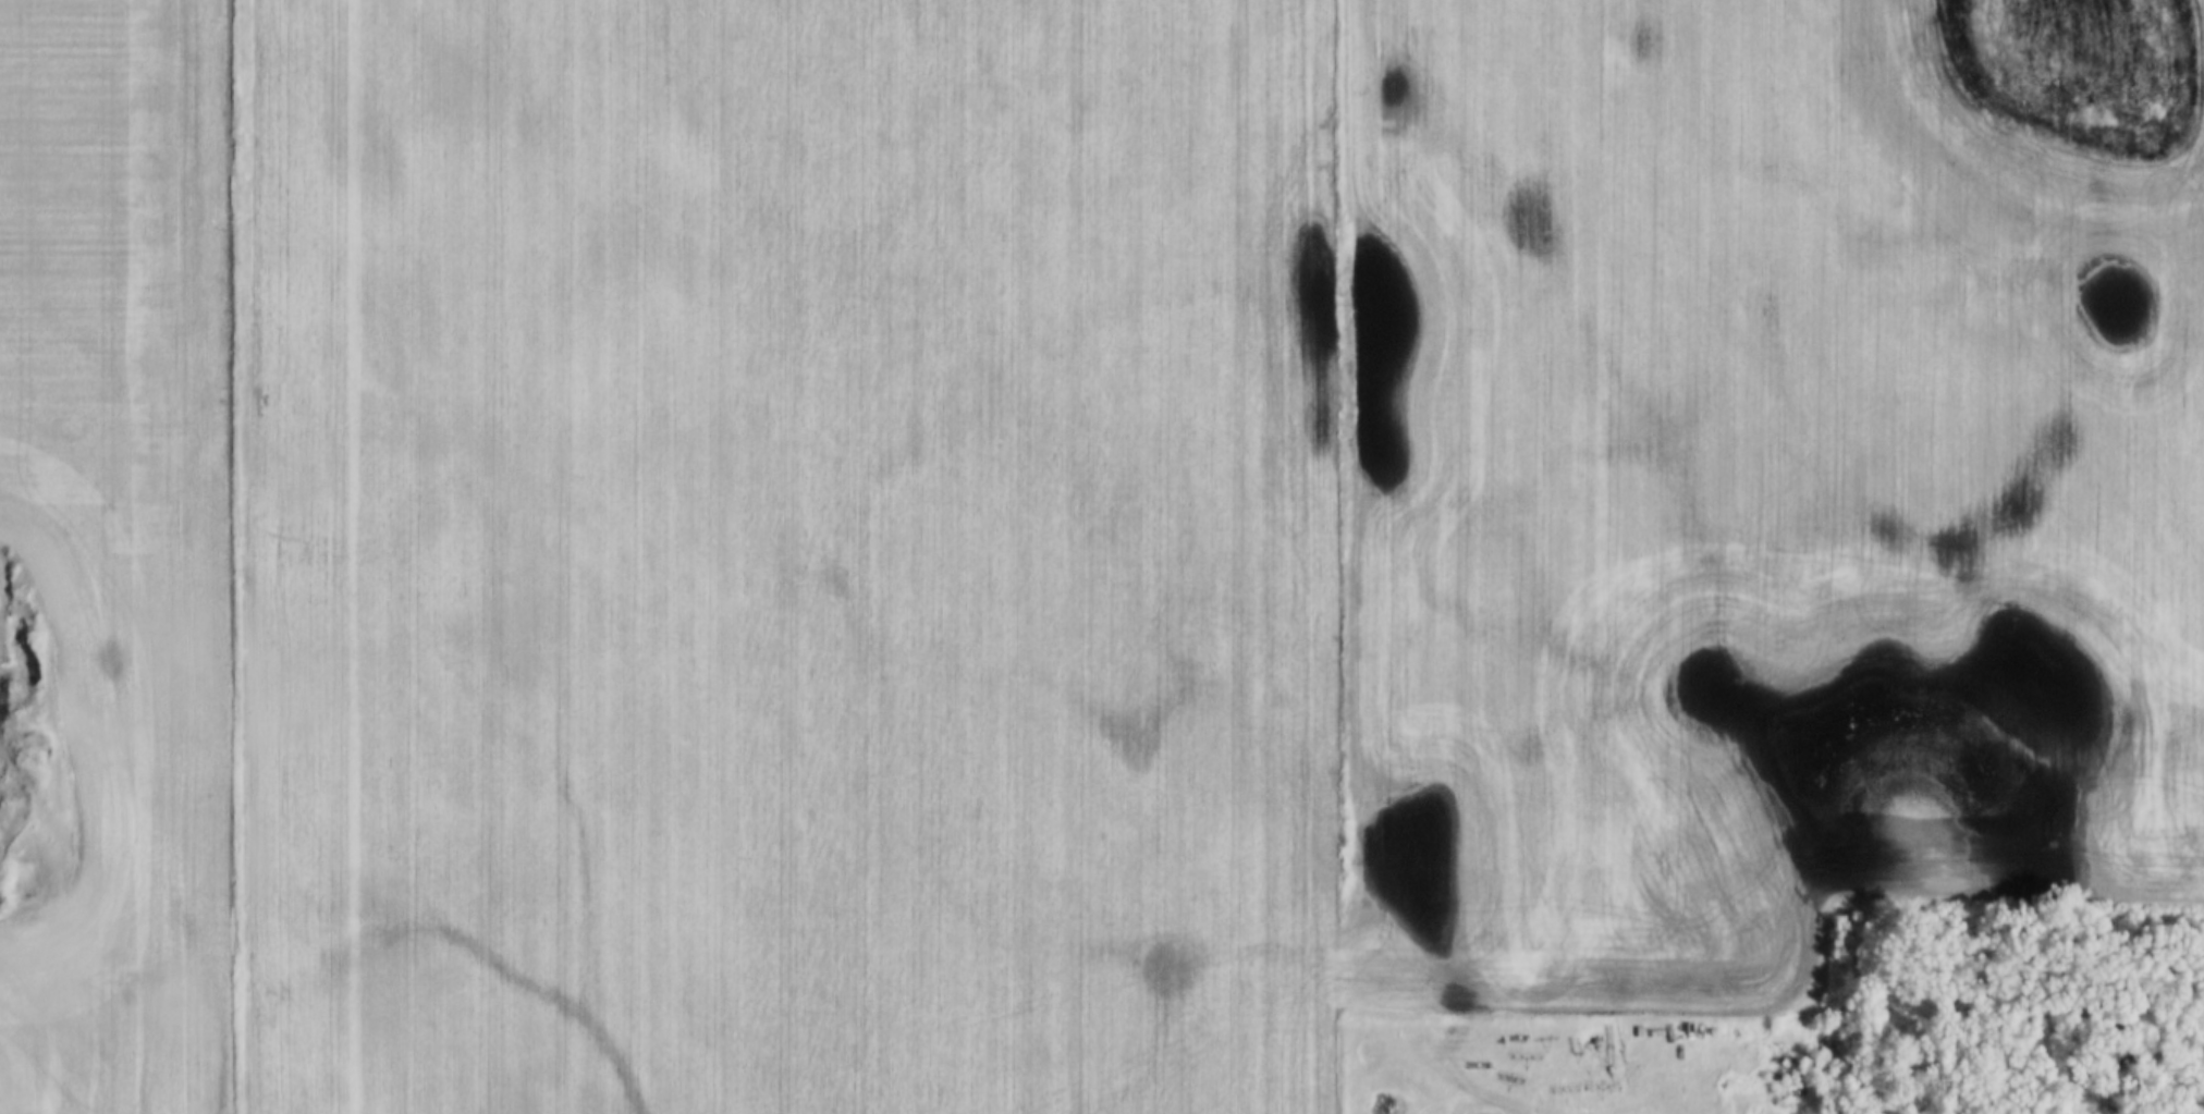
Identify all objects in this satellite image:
quarry: (33, 755)

